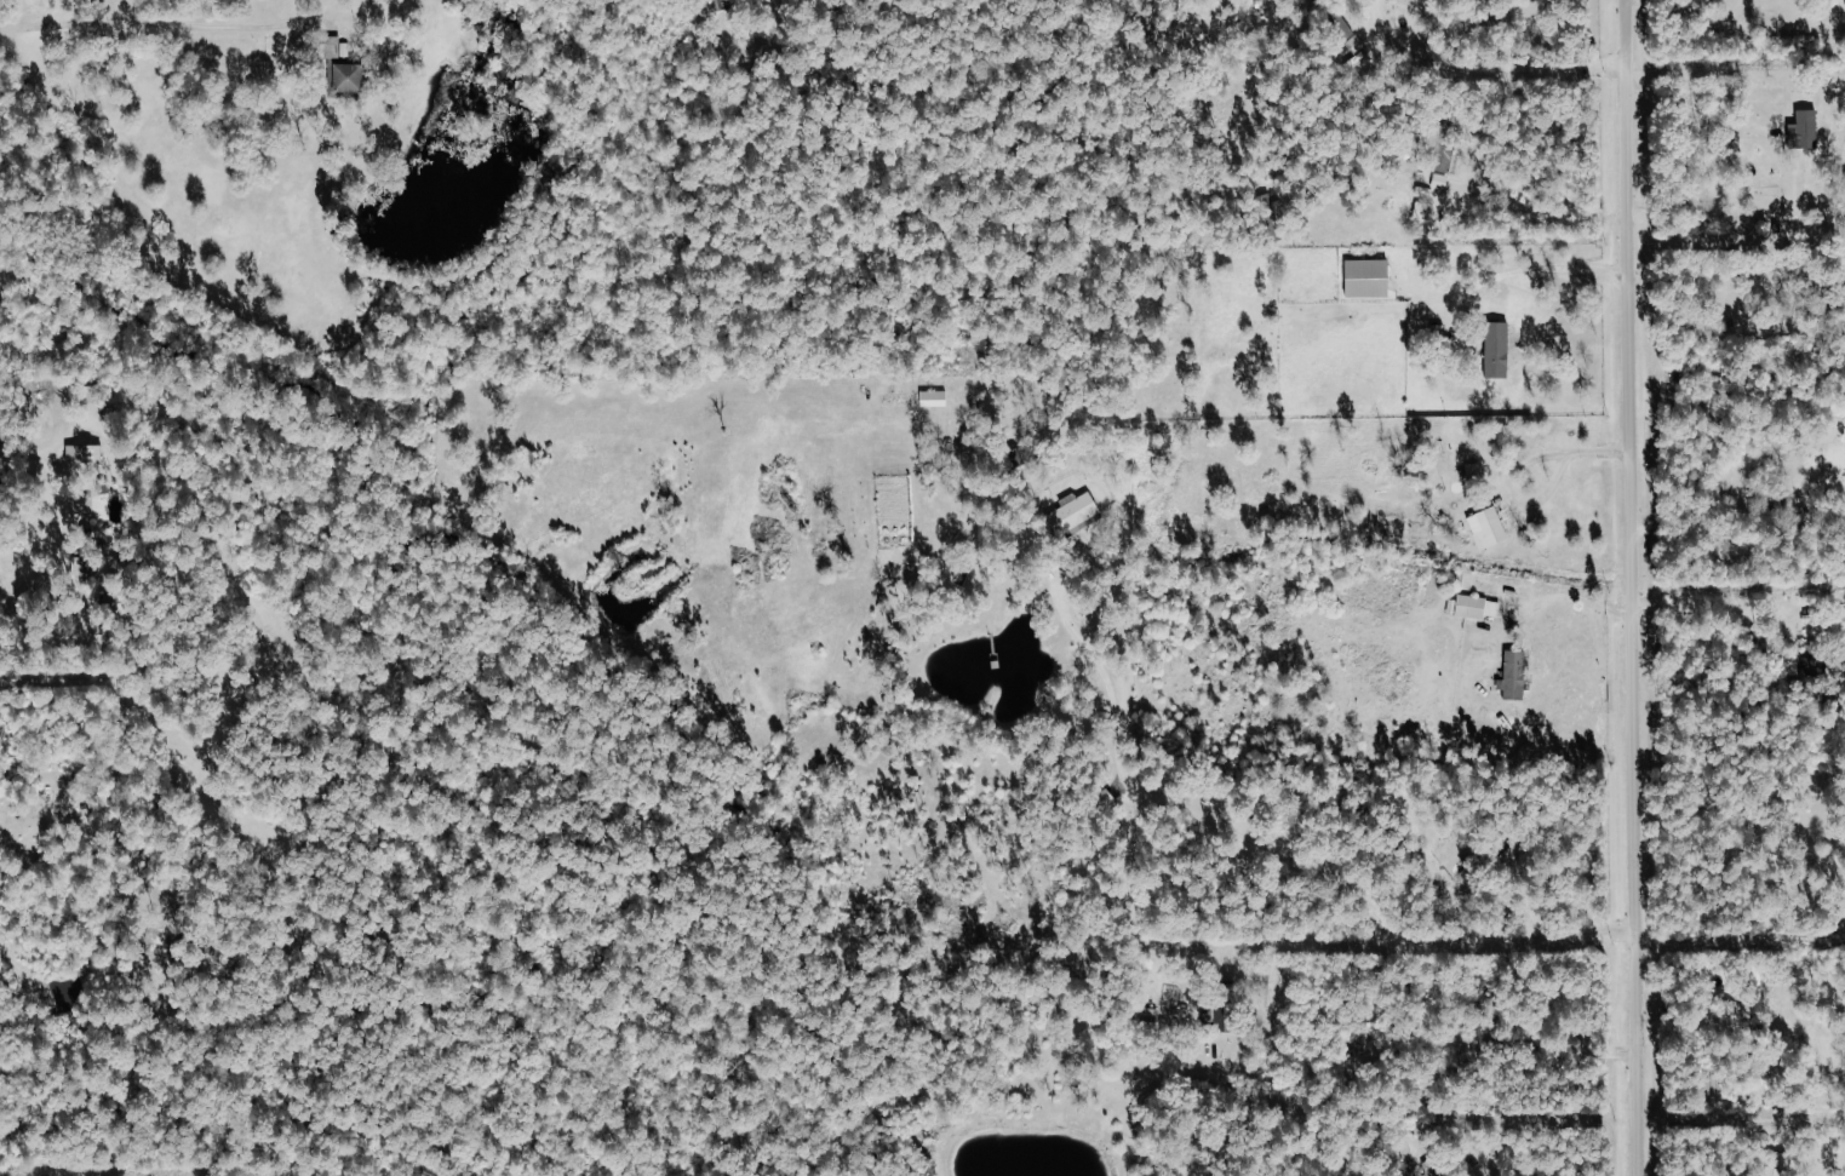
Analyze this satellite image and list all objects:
road: (165, 22)
road: (1757, 30)
road: (1479, 68)
building: (349, 76)
road: (1683, 110)
building: (1804, 130)
building: (1443, 153)
building: (1439, 180)
road: (1534, 216)
road: (1518, 265)
road: (1609, 273)
road: (1680, 276)
building: (1368, 277)
building: (1497, 350)
building: (933, 398)
building: (82, 454)
road: (1503, 466)
road: (1696, 504)
building: (80, 505)
building: (1075, 516)
building: (1488, 528)
building: (84, 557)
road: (1629, 587)
road: (1566, 595)
building: (1477, 607)
road: (1713, 609)
road: (51, 643)
building: (1514, 675)
road: (1744, 824)
road: (1284, 860)
building: (1148, 1017)
building: (1220, 1019)
road: (1402, 1049)
road: (1548, 1114)
road: (1781, 1129)
building: (1777, 1163)
road: (67, 1172)
road: (1509, 1174)

